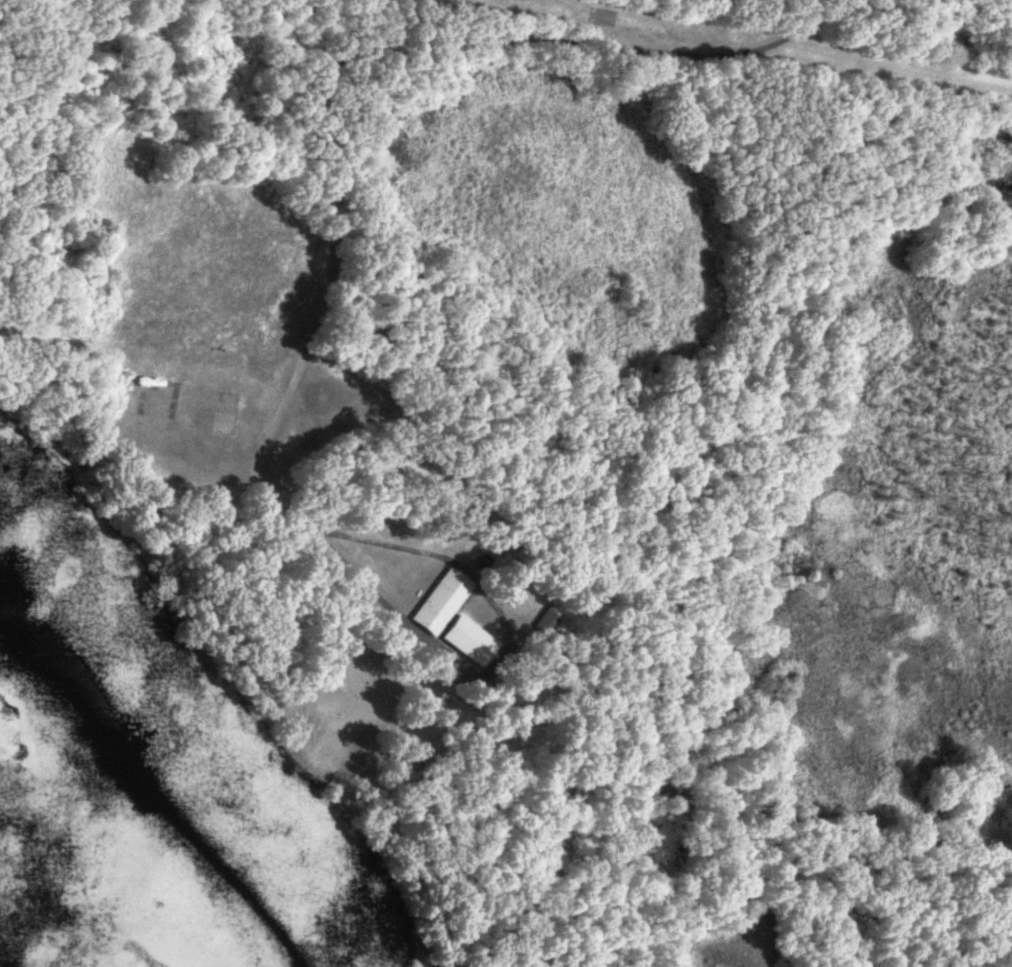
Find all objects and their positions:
road: (326, 129)
building: (438, 602)
building: (465, 640)

